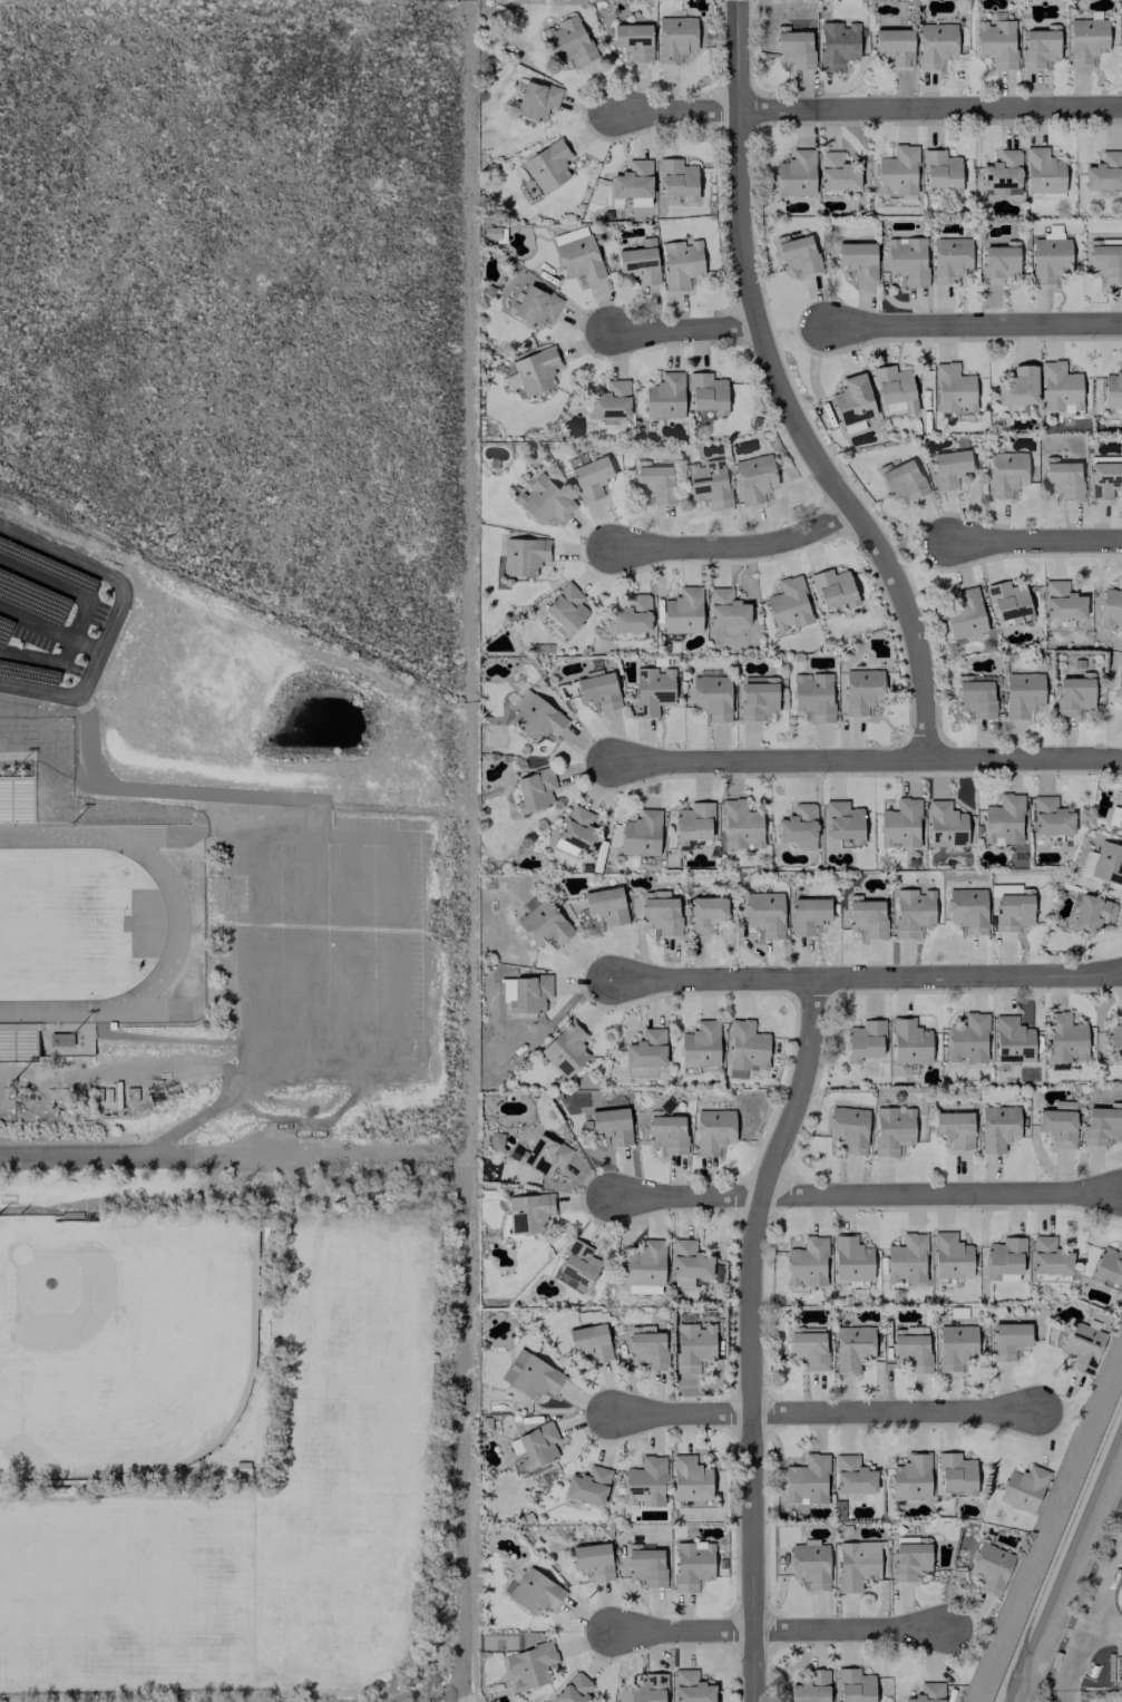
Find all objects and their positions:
building: (675, 38)
building: (1085, 39)
building: (568, 40)
building: (633, 40)
building: (995, 42)
building: (837, 45)
building: (935, 45)
building: (894, 46)
building: (1038, 46)
building: (793, 47)
building: (536, 100)
road: (869, 111)
building: (547, 165)
building: (940, 169)
building: (897, 171)
building: (1104, 171)
building: (836, 172)
building: (1042, 172)
building: (1003, 173)
building: (796, 174)
building: (676, 178)
building: (633, 183)
building: (1052, 232)
building: (577, 253)
building: (798, 255)
building: (857, 259)
building: (949, 259)
building: (638, 260)
building: (907, 260)
building: (1048, 260)
building: (1104, 261)
building: (998, 262)
building: (681, 263)
building: (534, 305)
road: (974, 325)
road: (682, 332)
building: (533, 371)
building: (894, 386)
building: (1018, 387)
building: (1060, 388)
building: (953, 389)
building: (1112, 390)
building: (706, 392)
building: (664, 397)
road: (777, 398)
building: (852, 399)
building: (609, 401)
building: (948, 467)
building: (1005, 473)
building: (589, 478)
building: (753, 478)
building: (901, 479)
building: (1062, 479)
building: (1103, 479)
building: (654, 483)
building: (709, 483)
building: (544, 500)
road: (1034, 542)
road: (734, 551)
building: (523, 556)
building: (833, 589)
building: (1008, 601)
building: (1062, 601)
building: (788, 604)
building: (1111, 606)
building: (565, 609)
building: (725, 609)
building: (682, 611)
building: (632, 614)
building: (964, 614)
parking lot: (45, 615)
road: (115, 615)
road: (79, 616)
road: (49, 628)
building: (1118, 688)
building: (597, 690)
building: (652, 690)
building: (861, 691)
building: (1074, 693)
building: (1022, 694)
building: (812, 696)
building: (975, 696)
building: (711, 697)
building: (757, 697)
building: (536, 719)
road: (866, 762)
road: (175, 790)
building: (534, 790)
building: (1050, 817)
building: (1120, 819)
building: (1003, 820)
building: (692, 823)
building: (843, 823)
building: (798, 824)
building: (900, 824)
building: (945, 824)
building: (740, 826)
building: (578, 829)
road: (322, 834)
building: (640, 834)
building: (803, 845)
road: (471, 850)
building: (1103, 863)
building: (605, 905)
building: (967, 910)
building: (1013, 911)
building: (660, 912)
building: (911, 912)
building: (704, 913)
building: (763, 913)
building: (1091, 913)
building: (807, 914)
building: (867, 917)
building: (543, 924)
stadium: (101, 926)
road: (251, 944)
road: (302, 947)
parking lot: (324, 947)
road: (348, 951)
road: (394, 954)
road: (871, 982)
building: (530, 993)
building: (1114, 1037)
building: (1065, 1038)
building: (967, 1039)
building: (864, 1040)
building: (1012, 1040)
building: (909, 1042)
building: (700, 1044)
building: (747, 1047)
building: (646, 1049)
building: (564, 1050)
road: (322, 1063)
road: (202, 1113)
building: (1058, 1124)
building: (1101, 1124)
building: (612, 1125)
building: (997, 1127)
building: (848, 1128)
building: (955, 1128)
building: (713, 1130)
building: (891, 1130)
building: (665, 1132)
building: (495, 1139)
road: (326, 1151)
building: (544, 1156)
road: (92, 1157)
road: (869, 1198)
building: (528, 1212)
building: (950, 1256)
building: (1048, 1257)
building: (851, 1258)
building: (906, 1260)
building: (1004, 1260)
building: (806, 1262)
building: (687, 1263)
building: (645, 1264)
building: (1108, 1265)
building: (578, 1267)
park: (123, 1324)
park: (362, 1338)
road: (754, 1339)
building: (1008, 1340)
building: (589, 1342)
building: (693, 1345)
building: (646, 1346)
building: (808, 1346)
building: (955, 1346)
building: (1081, 1346)
building: (852, 1348)
building: (910, 1349)
building: (529, 1375)
building: (498, 1404)
road: (827, 1409)
building: (537, 1446)
building: (956, 1472)
building: (852, 1475)
building: (910, 1476)
building: (690, 1479)
building: (806, 1480)
building: (644, 1482)
building: (588, 1486)
building: (1022, 1488)
park: (360, 1549)
building: (910, 1557)
building: (592, 1560)
building: (692, 1564)
building: (856, 1564)
building: (809, 1565)
building: (645, 1566)
building: (989, 1567)
building: (534, 1592)
park: (136, 1593)
road: (782, 1626)
building: (530, 1665)
building: (853, 1685)
building: (691, 1688)
building: (811, 1688)
building: (573, 1689)
building: (648, 1689)
building: (927, 1693)

